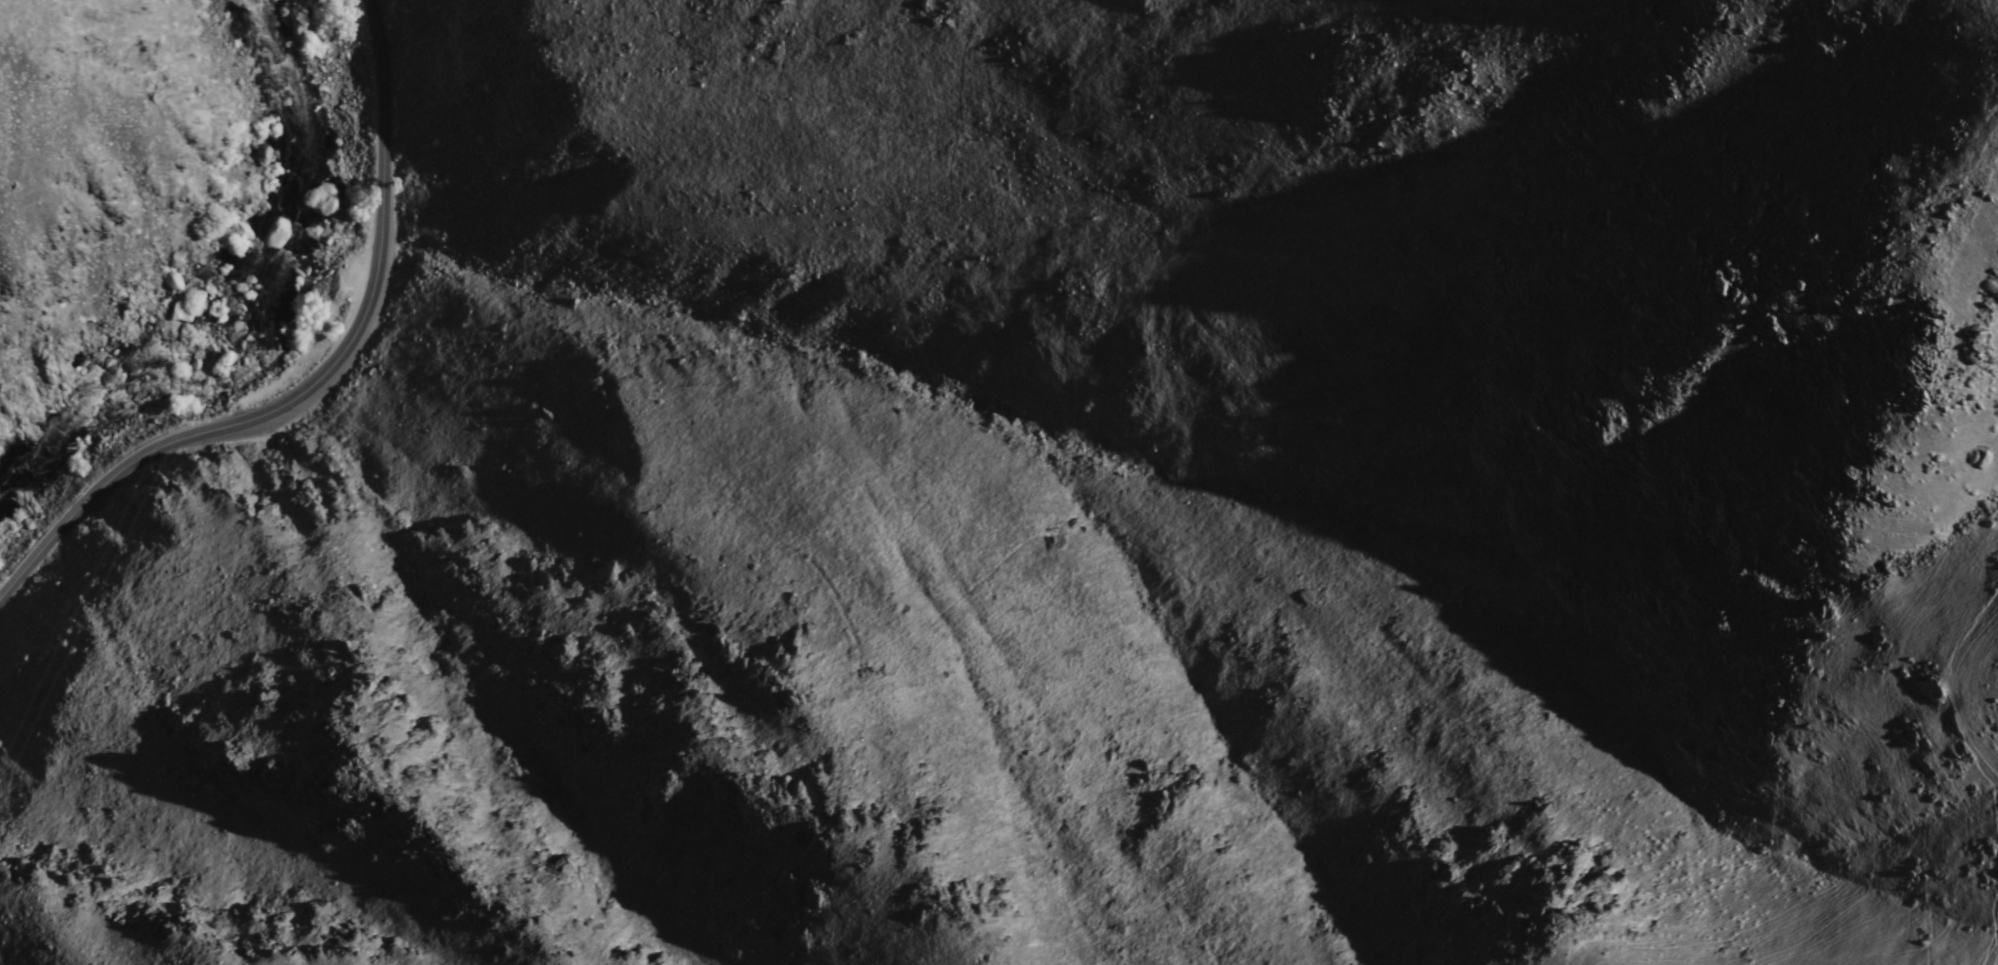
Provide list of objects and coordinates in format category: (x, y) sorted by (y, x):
river: (244, 301)
road: (318, 378)

